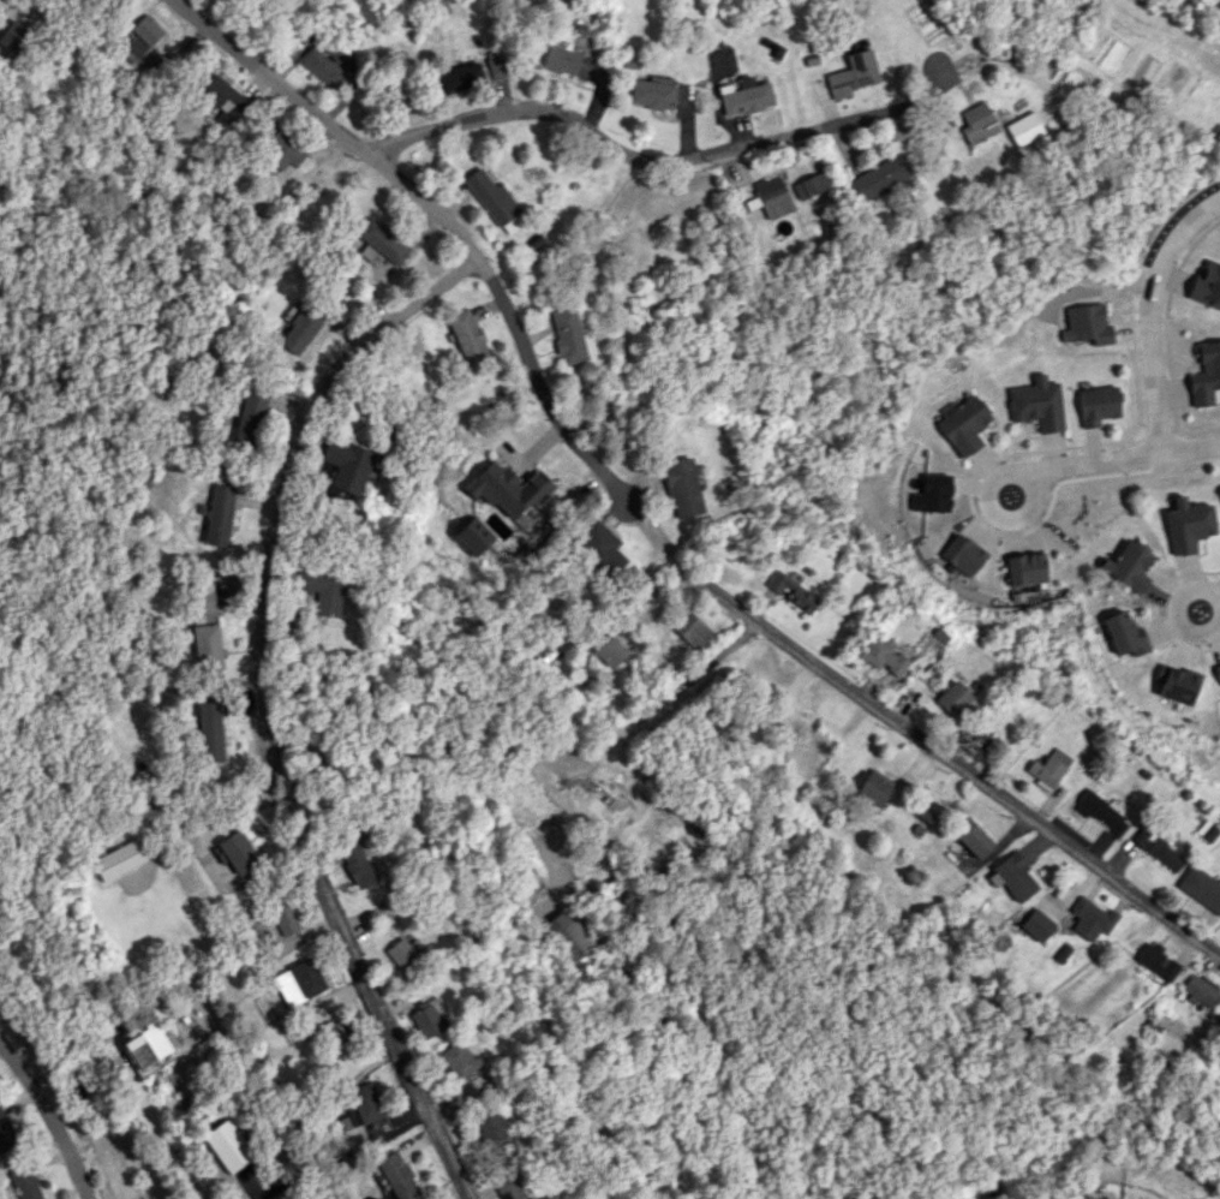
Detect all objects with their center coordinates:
building: (142, 36)
building: (560, 60)
building: (497, 64)
building: (323, 68)
building: (851, 73)
building: (459, 77)
building: (650, 94)
building: (743, 95)
building: (225, 96)
building: (976, 123)
building: (1022, 127)
building: (282, 149)
road: (636, 162)
building: (878, 177)
building: (809, 185)
building: (769, 197)
building: (492, 199)
road: (439, 213)
building: (381, 243)
building: (1207, 284)
road: (1147, 312)
building: (1086, 324)
building: (300, 329)
building: (567, 334)
building: (468, 338)
building: (1204, 374)
building: (1035, 404)
building: (1096, 404)
building: (250, 414)
building: (963, 425)
road: (303, 446)
road: (1119, 459)
building: (347, 465)
building: (681, 488)
building: (508, 490)
building: (934, 491)
building: (1218, 493)
road: (995, 506)
building: (220, 514)
building: (1188, 524)
building: (472, 536)
road: (656, 538)
building: (600, 547)
building: (963, 554)
building: (1128, 565)
building: (1027, 568)
building: (321, 587)
building: (790, 591)
road: (1216, 596)
building: (202, 601)
road: (1183, 621)
building: (690, 630)
building: (1125, 633)
building: (207, 646)
building: (609, 651)
building: (881, 656)
building: (1219, 667)
building: (1179, 685)
road: (663, 696)
building: (952, 698)
building: (209, 729)
building: (808, 744)
road: (264, 748)
road: (956, 766)
building: (1047, 769)
building: (873, 787)
building: (602, 800)
building: (1099, 811)
building: (971, 836)
building: (1158, 849)
building: (238, 851)
building: (118, 859)
building: (355, 860)
building: (1011, 876)
building: (1201, 888)
building: (1089, 917)
building: (274, 920)
building: (1036, 925)
building: (568, 933)
building: (402, 955)
building: (1158, 961)
building: (299, 982)
building: (1200, 991)
building: (426, 1019)
road: (388, 1033)
building: (146, 1044)
building: (456, 1060)
building: (361, 1105)
road: (50, 1111)
building: (490, 1131)
road: (163, 1132)
building: (5, 1134)
building: (227, 1145)
building: (397, 1175)
building: (24, 1182)
building: (512, 1186)
building: (1106, 1198)

